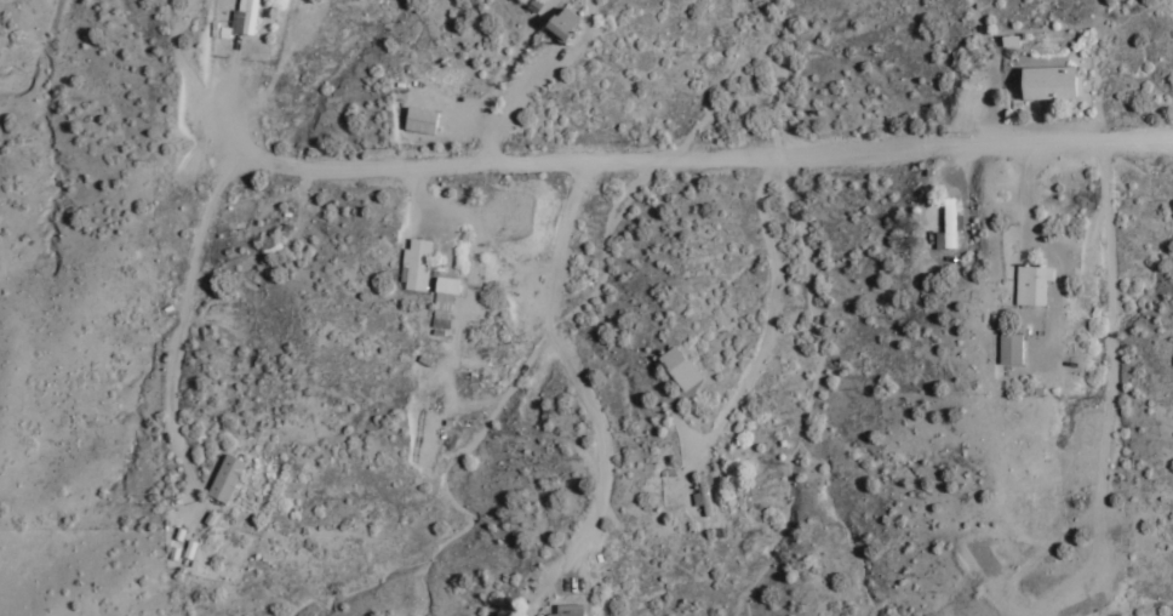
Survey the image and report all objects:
building: (571, 23)
building: (1059, 81)
building: (424, 120)
road: (553, 159)
building: (949, 227)
building: (416, 264)
building: (1032, 284)
building: (446, 301)
building: (1013, 349)
building: (686, 367)
building: (231, 478)
building: (705, 496)
building: (574, 608)
building: (568, 615)

